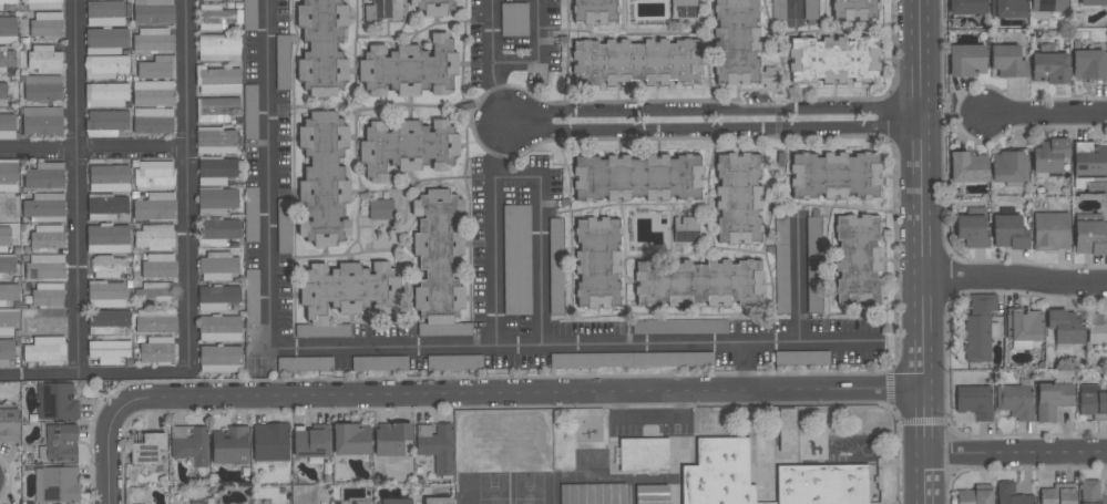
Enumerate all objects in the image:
building: (208, 0)
building: (6, 2)
building: (1093, 2)
building: (41, 4)
building: (1048, 6)
building: (434, 7)
building: (966, 7)
road: (795, 8)
building: (683, 9)
building: (853, 9)
building: (1007, 9)
building: (378, 10)
building: (778, 10)
building: (810, 10)
building: (153, 11)
building: (593, 11)
building: (105, 13)
building: (226, 17)
building: (513, 19)
building: (47, 24)
building: (8, 30)
building: (153, 40)
building: (105, 41)
building: (739, 45)
building: (321, 47)
building: (218, 48)
road: (541, 55)
building: (43, 59)
building: (833, 60)
building: (966, 60)
building: (1007, 61)
building: (283, 62)
building: (635, 62)
road: (492, 63)
building: (1050, 64)
building: (1089, 64)
building: (105, 66)
building: (156, 68)
building: (409, 69)
building: (217, 80)
building: (42, 88)
building: (2, 93)
building: (152, 93)
building: (105, 95)
building: (216, 110)
road: (1047, 113)
building: (249, 114)
building: (41, 121)
building: (152, 121)
road: (715, 122)
building: (106, 123)
building: (7, 126)
building: (216, 141)
building: (407, 147)
road: (502, 151)
road: (93, 153)
building: (1048, 155)
building: (1089, 161)
building: (967, 167)
building: (1009, 167)
building: (216, 171)
road: (270, 172)
building: (8, 175)
building: (154, 175)
building: (834, 175)
building: (44, 176)
road: (515, 176)
building: (637, 177)
building: (109, 178)
building: (322, 181)
road: (75, 187)
road: (187, 187)
building: (737, 197)
building: (216, 200)
building: (105, 206)
building: (43, 207)
building: (154, 207)
building: (379, 209)
building: (250, 215)
building: (284, 226)
building: (686, 229)
building: (971, 230)
building: (1050, 230)
building: (217, 232)
building: (1009, 232)
building: (47, 237)
building: (1090, 237)
building: (4, 238)
building: (153, 238)
building: (107, 239)
road: (923, 251)
building: (516, 259)
building: (857, 259)
building: (782, 261)
building: (596, 263)
building: (437, 264)
building: (813, 265)
building: (158, 266)
building: (218, 266)
building: (555, 266)
building: (7, 267)
building: (45, 267)
building: (106, 268)
road: (797, 279)
building: (697, 282)
road: (1015, 282)
building: (9, 292)
building: (157, 292)
building: (48, 294)
building: (345, 294)
building: (105, 295)
building: (252, 297)
building: (217, 298)
building: (45, 321)
building: (106, 321)
building: (155, 321)
building: (8, 322)
building: (679, 327)
building: (978, 328)
building: (1023, 328)
building: (1065, 328)
building: (1097, 328)
building: (219, 329)
road: (573, 341)
building: (44, 350)
building: (156, 350)
building: (6, 351)
building: (106, 352)
building: (801, 358)
building: (221, 359)
building: (634, 359)
building: (454, 362)
building: (379, 363)
building: (305, 364)
road: (744, 367)
road: (93, 376)
road: (514, 395)
building: (1053, 400)
building: (57, 401)
building: (974, 401)
building: (1015, 401)
building: (1091, 401)
building: (9, 424)
building: (787, 429)
building: (390, 439)
building: (311, 440)
building: (350, 440)
building: (270, 442)
building: (59, 443)
building: (189, 444)
building: (230, 445)
building: (435, 446)
building: (643, 454)
road: (1017, 454)
road: (111, 456)
building: (718, 473)
building: (55, 484)
building: (826, 484)
building: (1090, 493)
building: (593, 494)
building: (652, 494)
building: (1058, 494)
building: (1011, 495)
building: (974, 496)
building: (394, 501)
building: (438, 501)
building: (198, 502)

